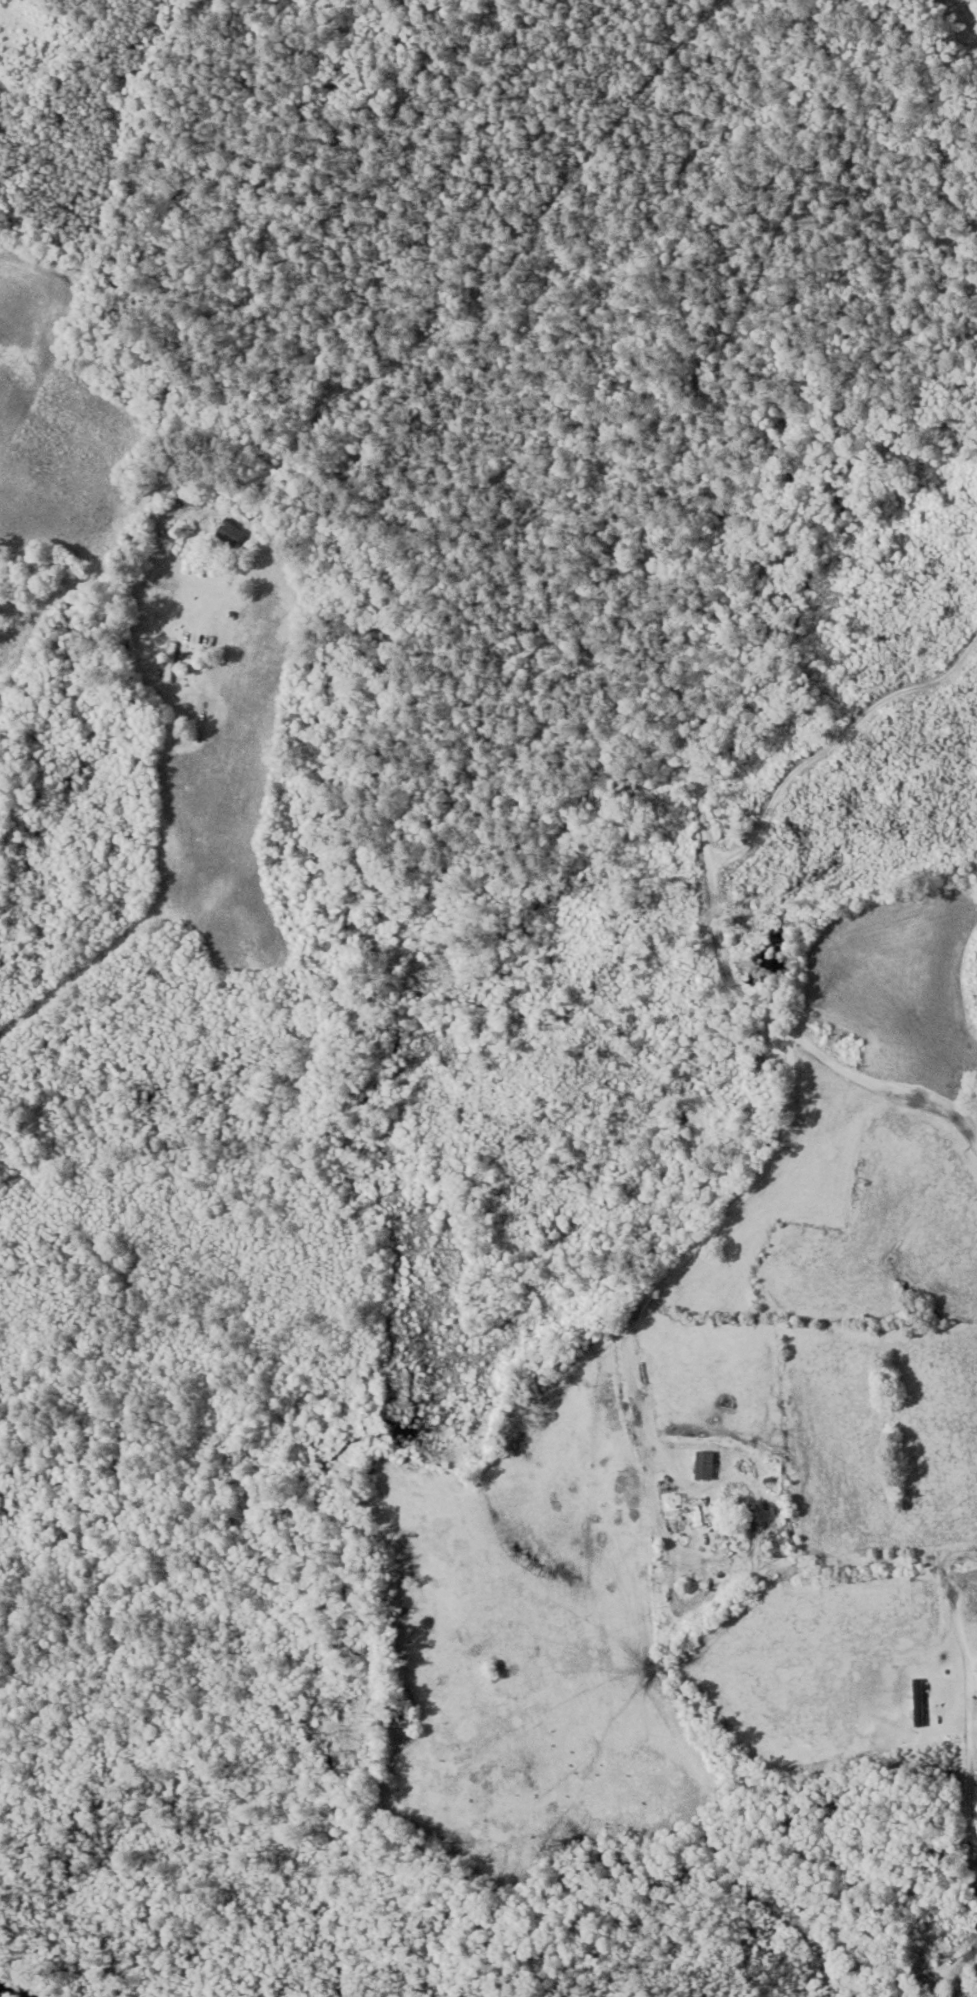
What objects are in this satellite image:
road: (379, 363)
road: (824, 441)
building: (231, 532)
building: (170, 661)
road: (716, 908)
road: (945, 1372)
building: (705, 1465)
building: (775, 1532)
building: (407, 1721)

